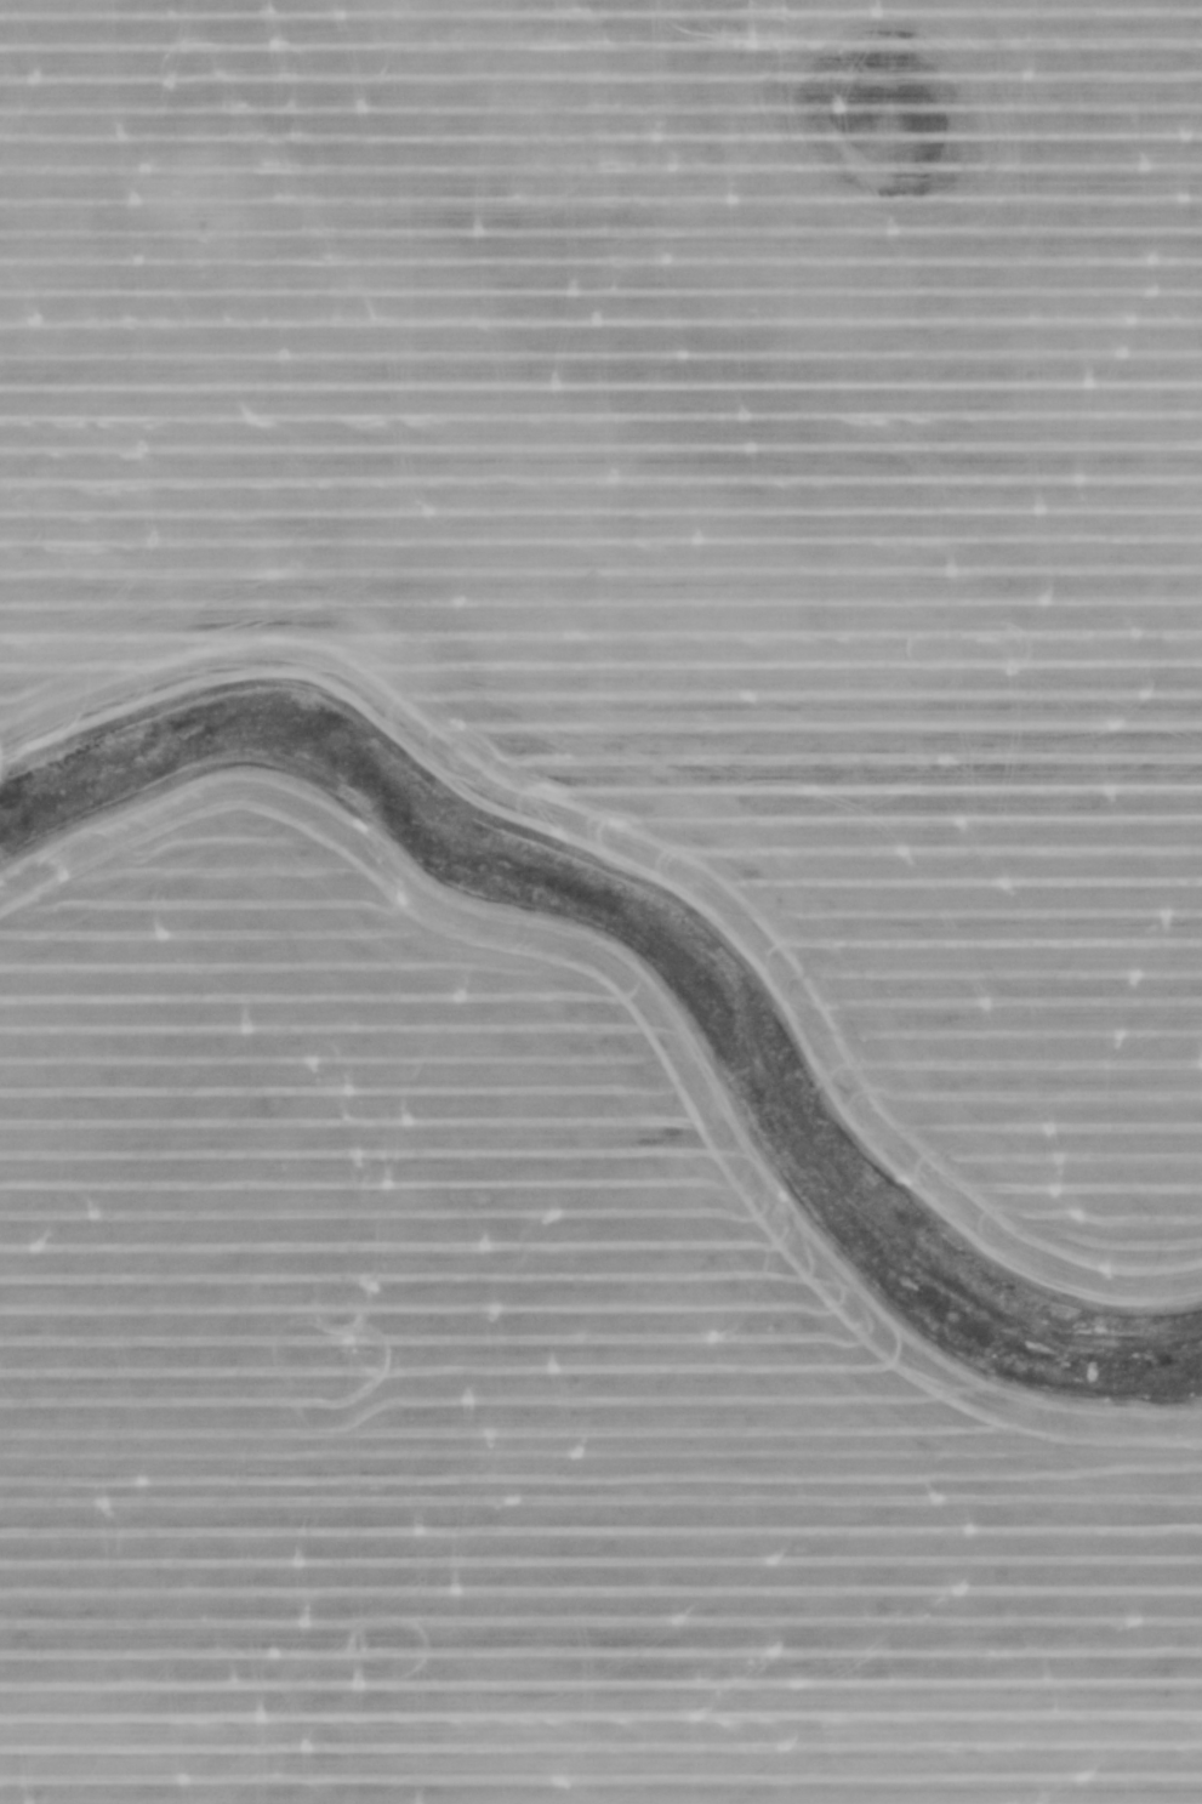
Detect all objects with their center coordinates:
crop: (604, 365)
crop: (614, 1725)

